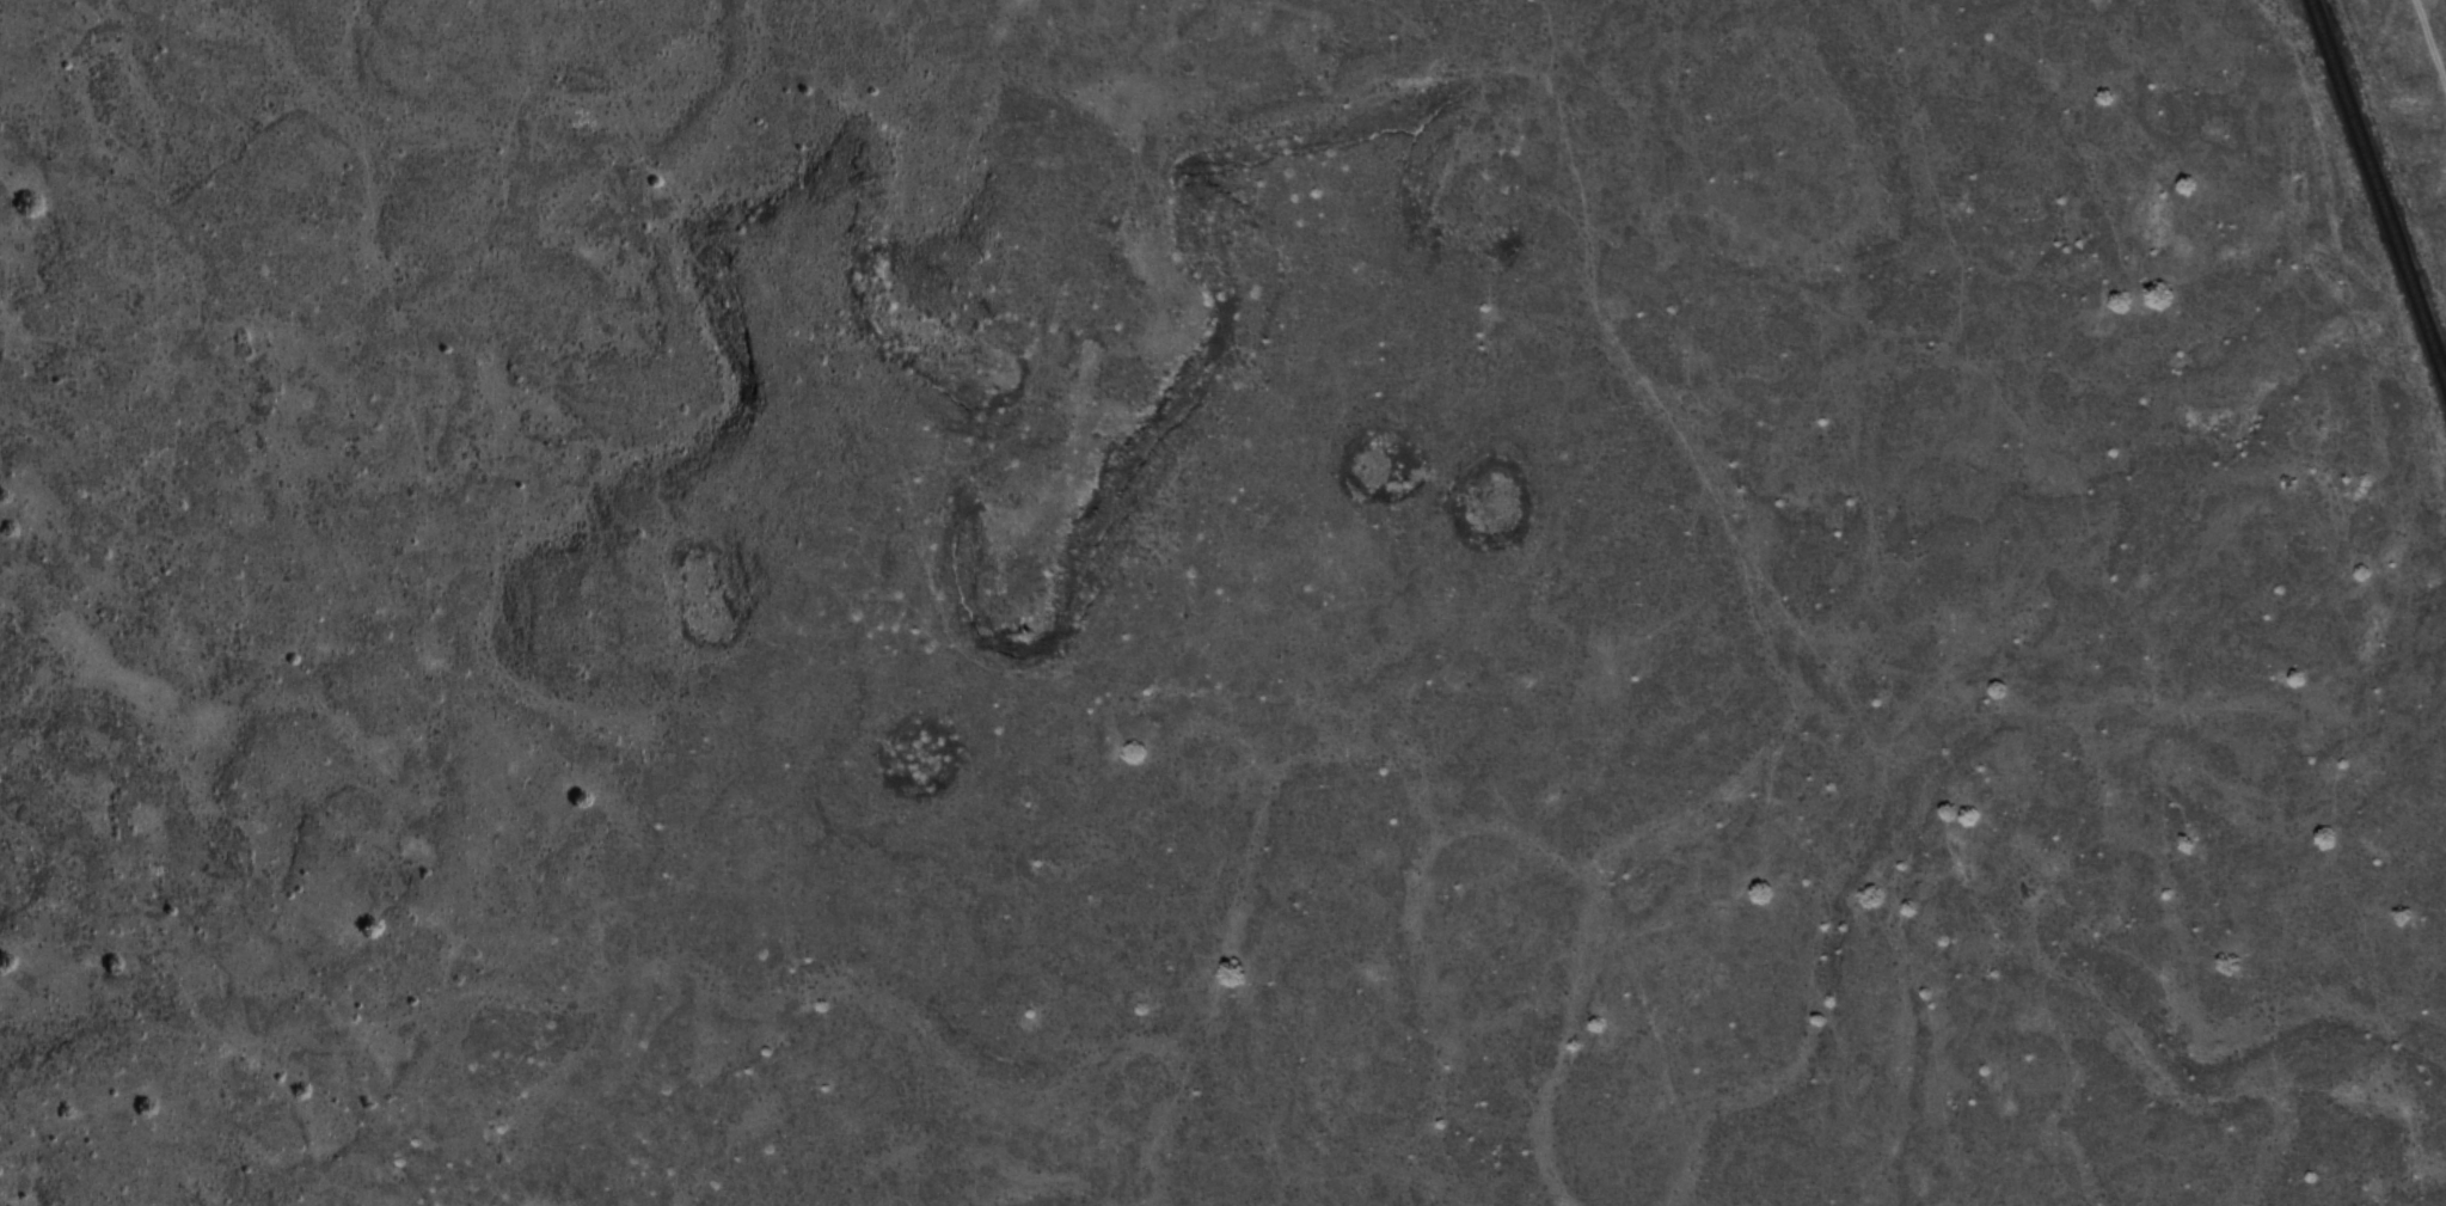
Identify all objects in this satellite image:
railway: (2377, 194)

